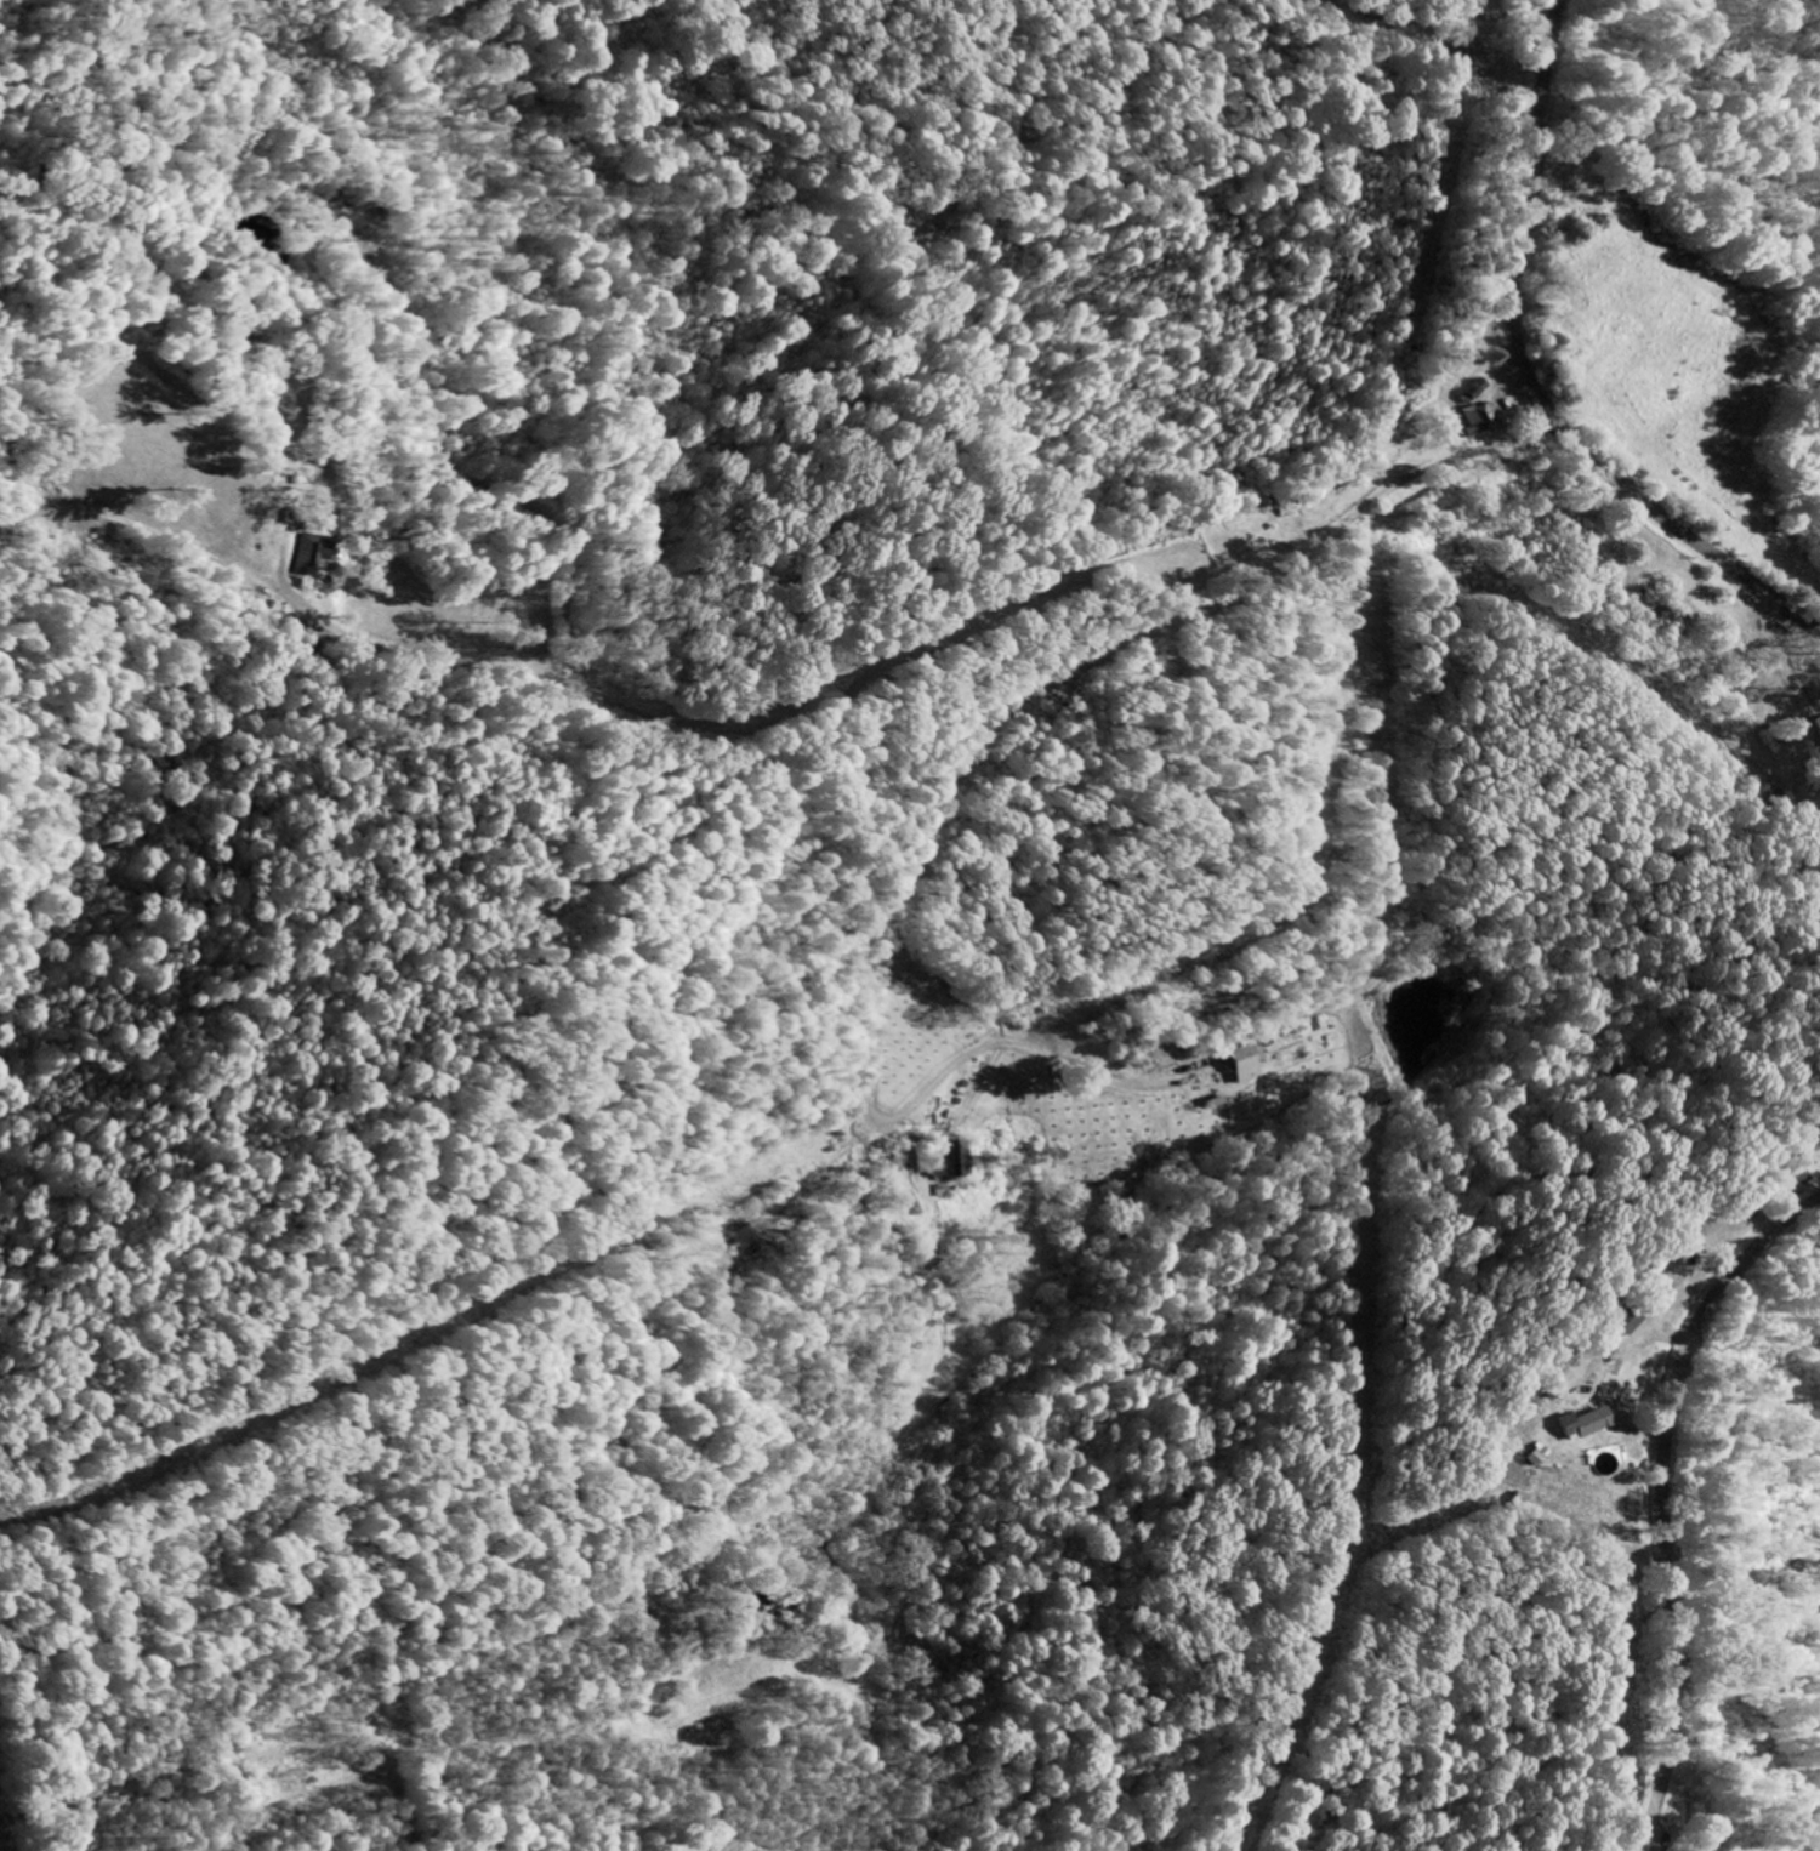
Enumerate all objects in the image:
road: (1438, 21)
road: (1529, 383)
building: (1472, 391)
building: (1475, 420)
building: (307, 554)
road: (925, 657)
road: (926, 824)
building: (1228, 1065)
building: (943, 1166)
building: (1576, 1425)
road: (1661, 1494)

